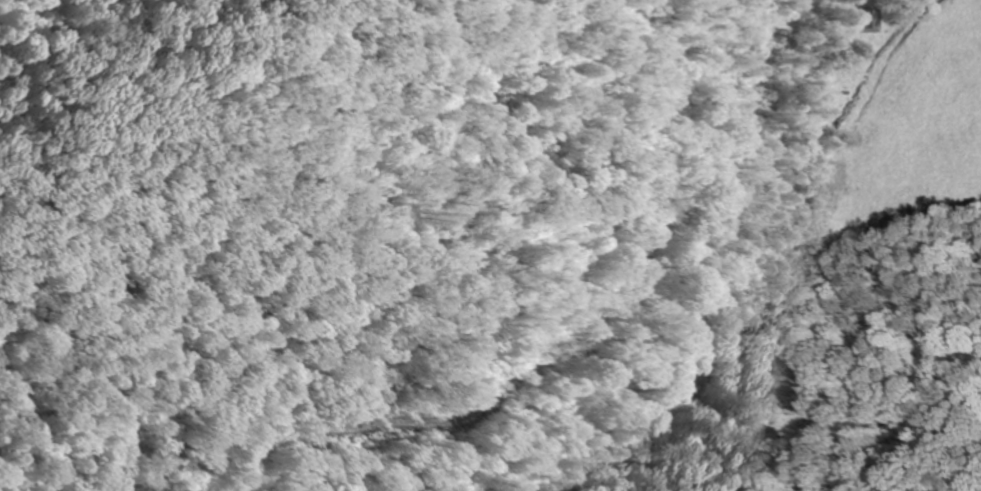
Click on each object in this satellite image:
building: (874, 21)

